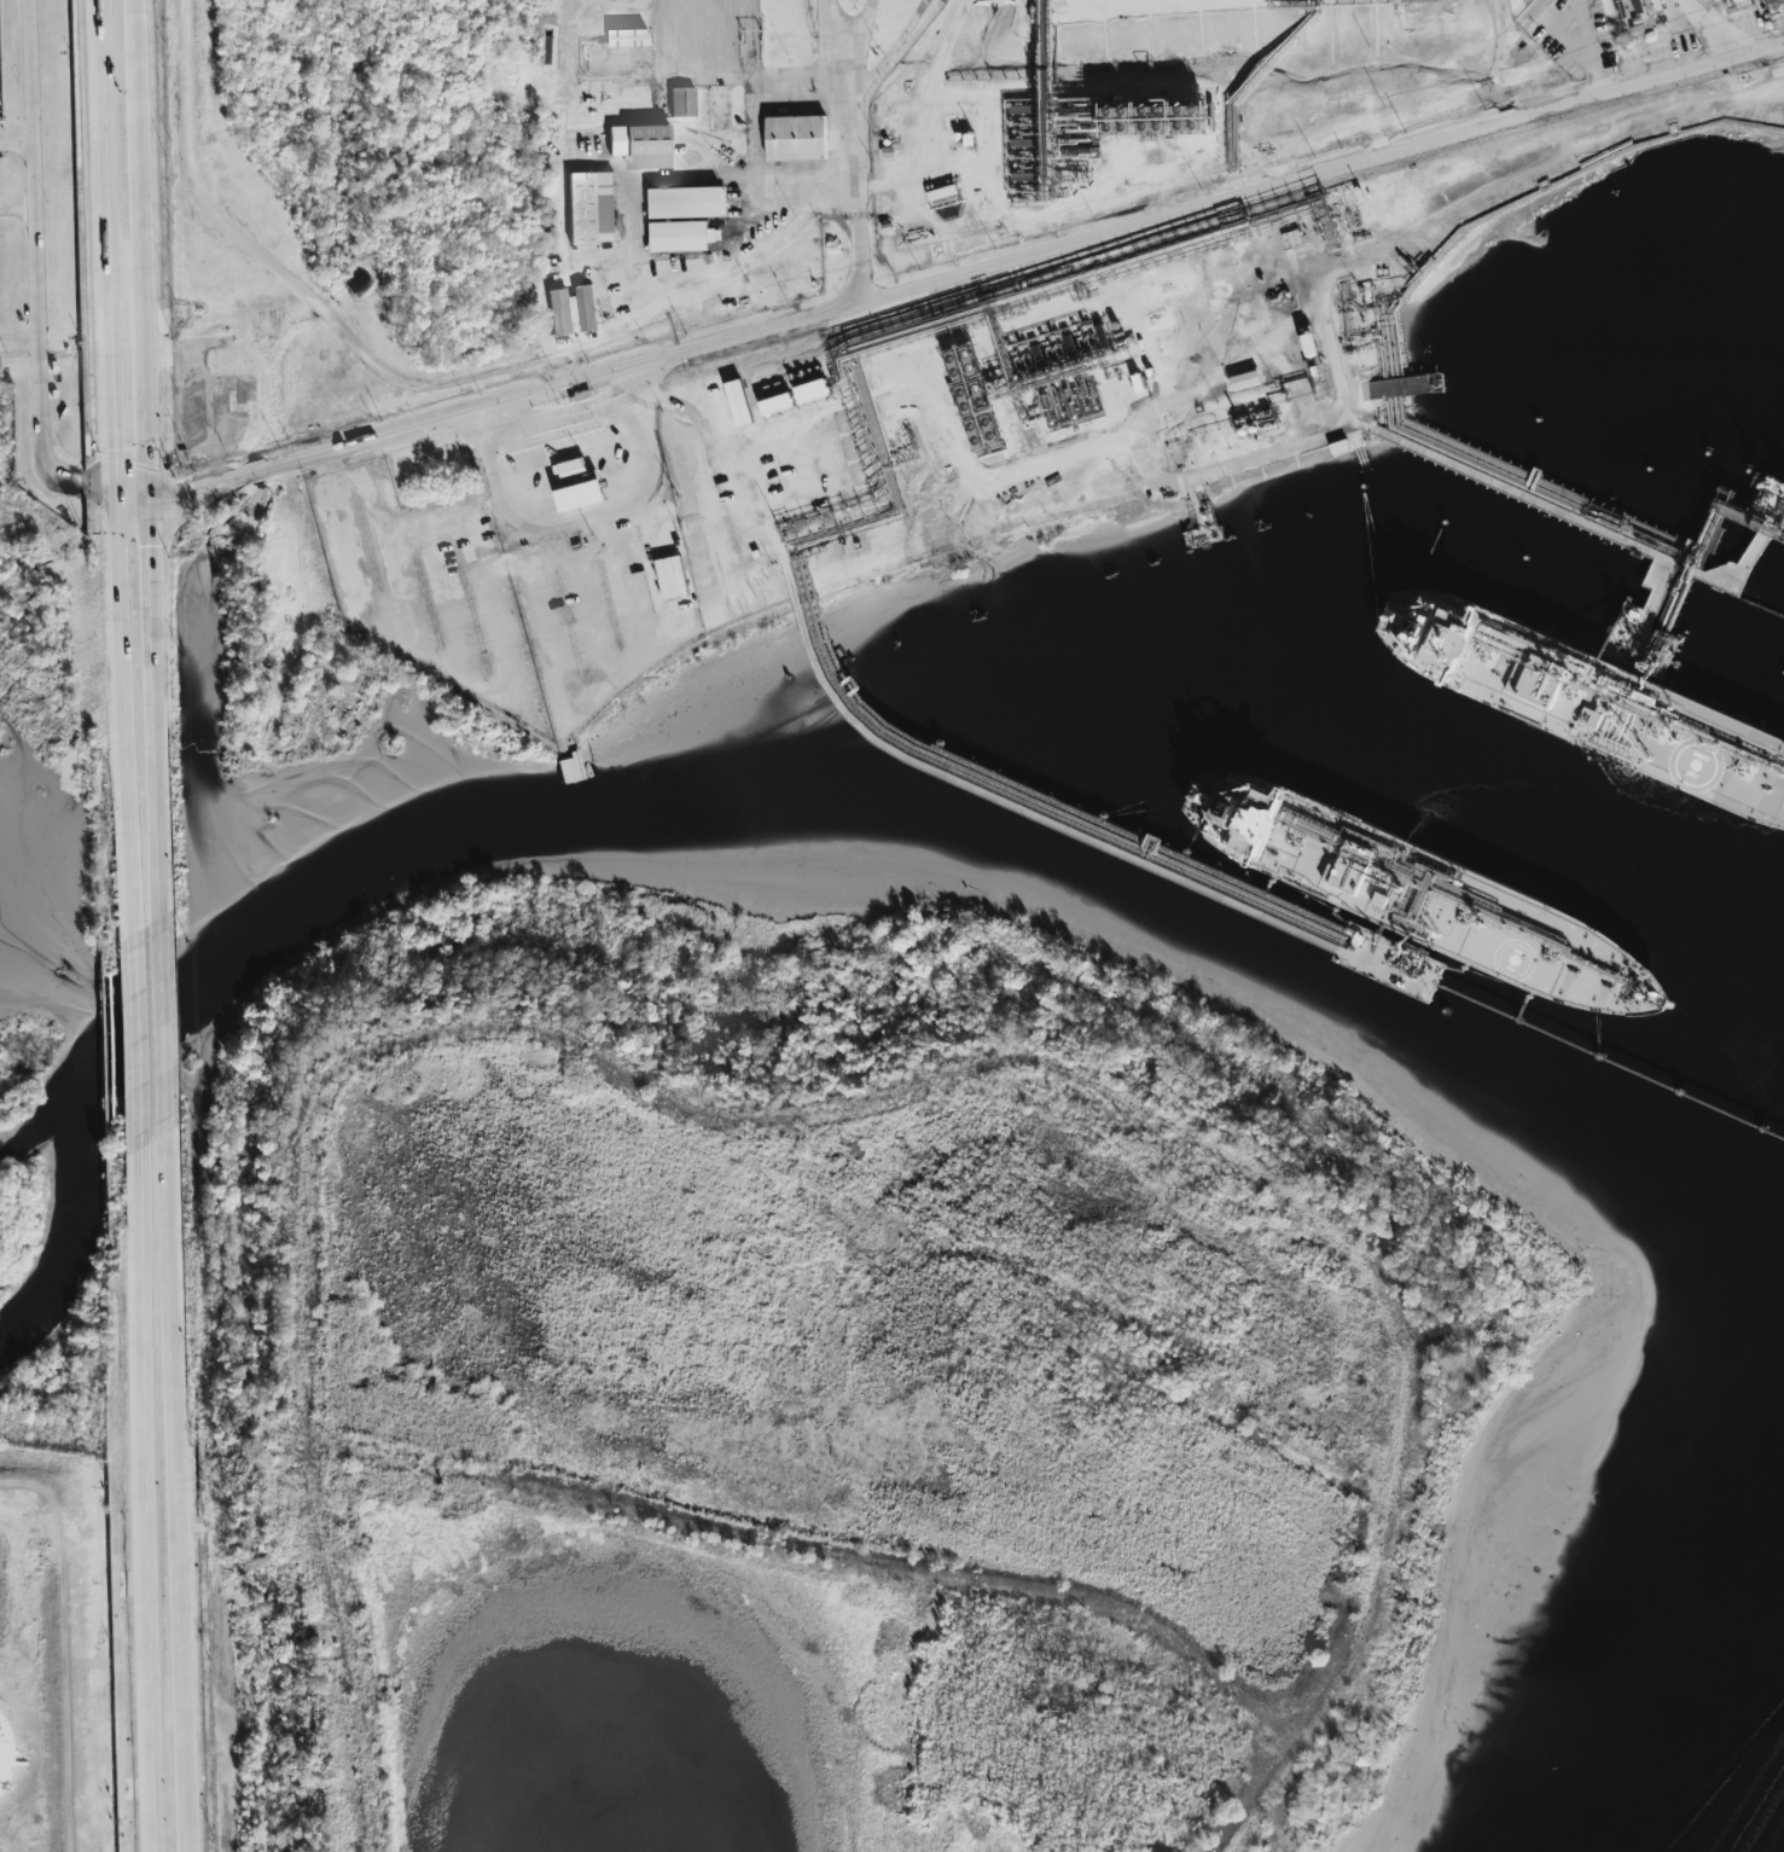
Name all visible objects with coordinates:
building: (1419, 0)
building: (1737, 0)
building: (1778, 5)
road: (832, 27)
road: (1709, 28)
building: (626, 36)
road: (894, 53)
building: (680, 103)
road: (925, 111)
building: (795, 138)
building: (639, 145)
road: (853, 147)
road: (106, 204)
building: (591, 208)
road: (16, 209)
building: (684, 217)
road: (33, 254)
road: (966, 274)
building: (571, 309)
road: (414, 379)
building: (1244, 381)
building: (812, 391)
building: (737, 404)
building: (775, 404)
road: (115, 453)
road: (146, 465)
building: (570, 469)
road: (339, 476)
road: (98, 483)
traffic signals: (116, 499)
road: (132, 499)
traffic signals: (147, 499)
road: (587, 519)
road: (413, 526)
pier: (1594, 528)
pier: (1748, 535)
building: (669, 577)
road: (124, 722)
building: (566, 771)
river: (871, 818)
pier: (1231, 902)
road: (161, 1026)
road: (136, 1040)
river: (72, 1213)
road: (174, 1486)
road: (145, 1492)
road: (69, 1637)
road: (37, 1735)
building: (2, 1753)
river: (1743, 1767)

